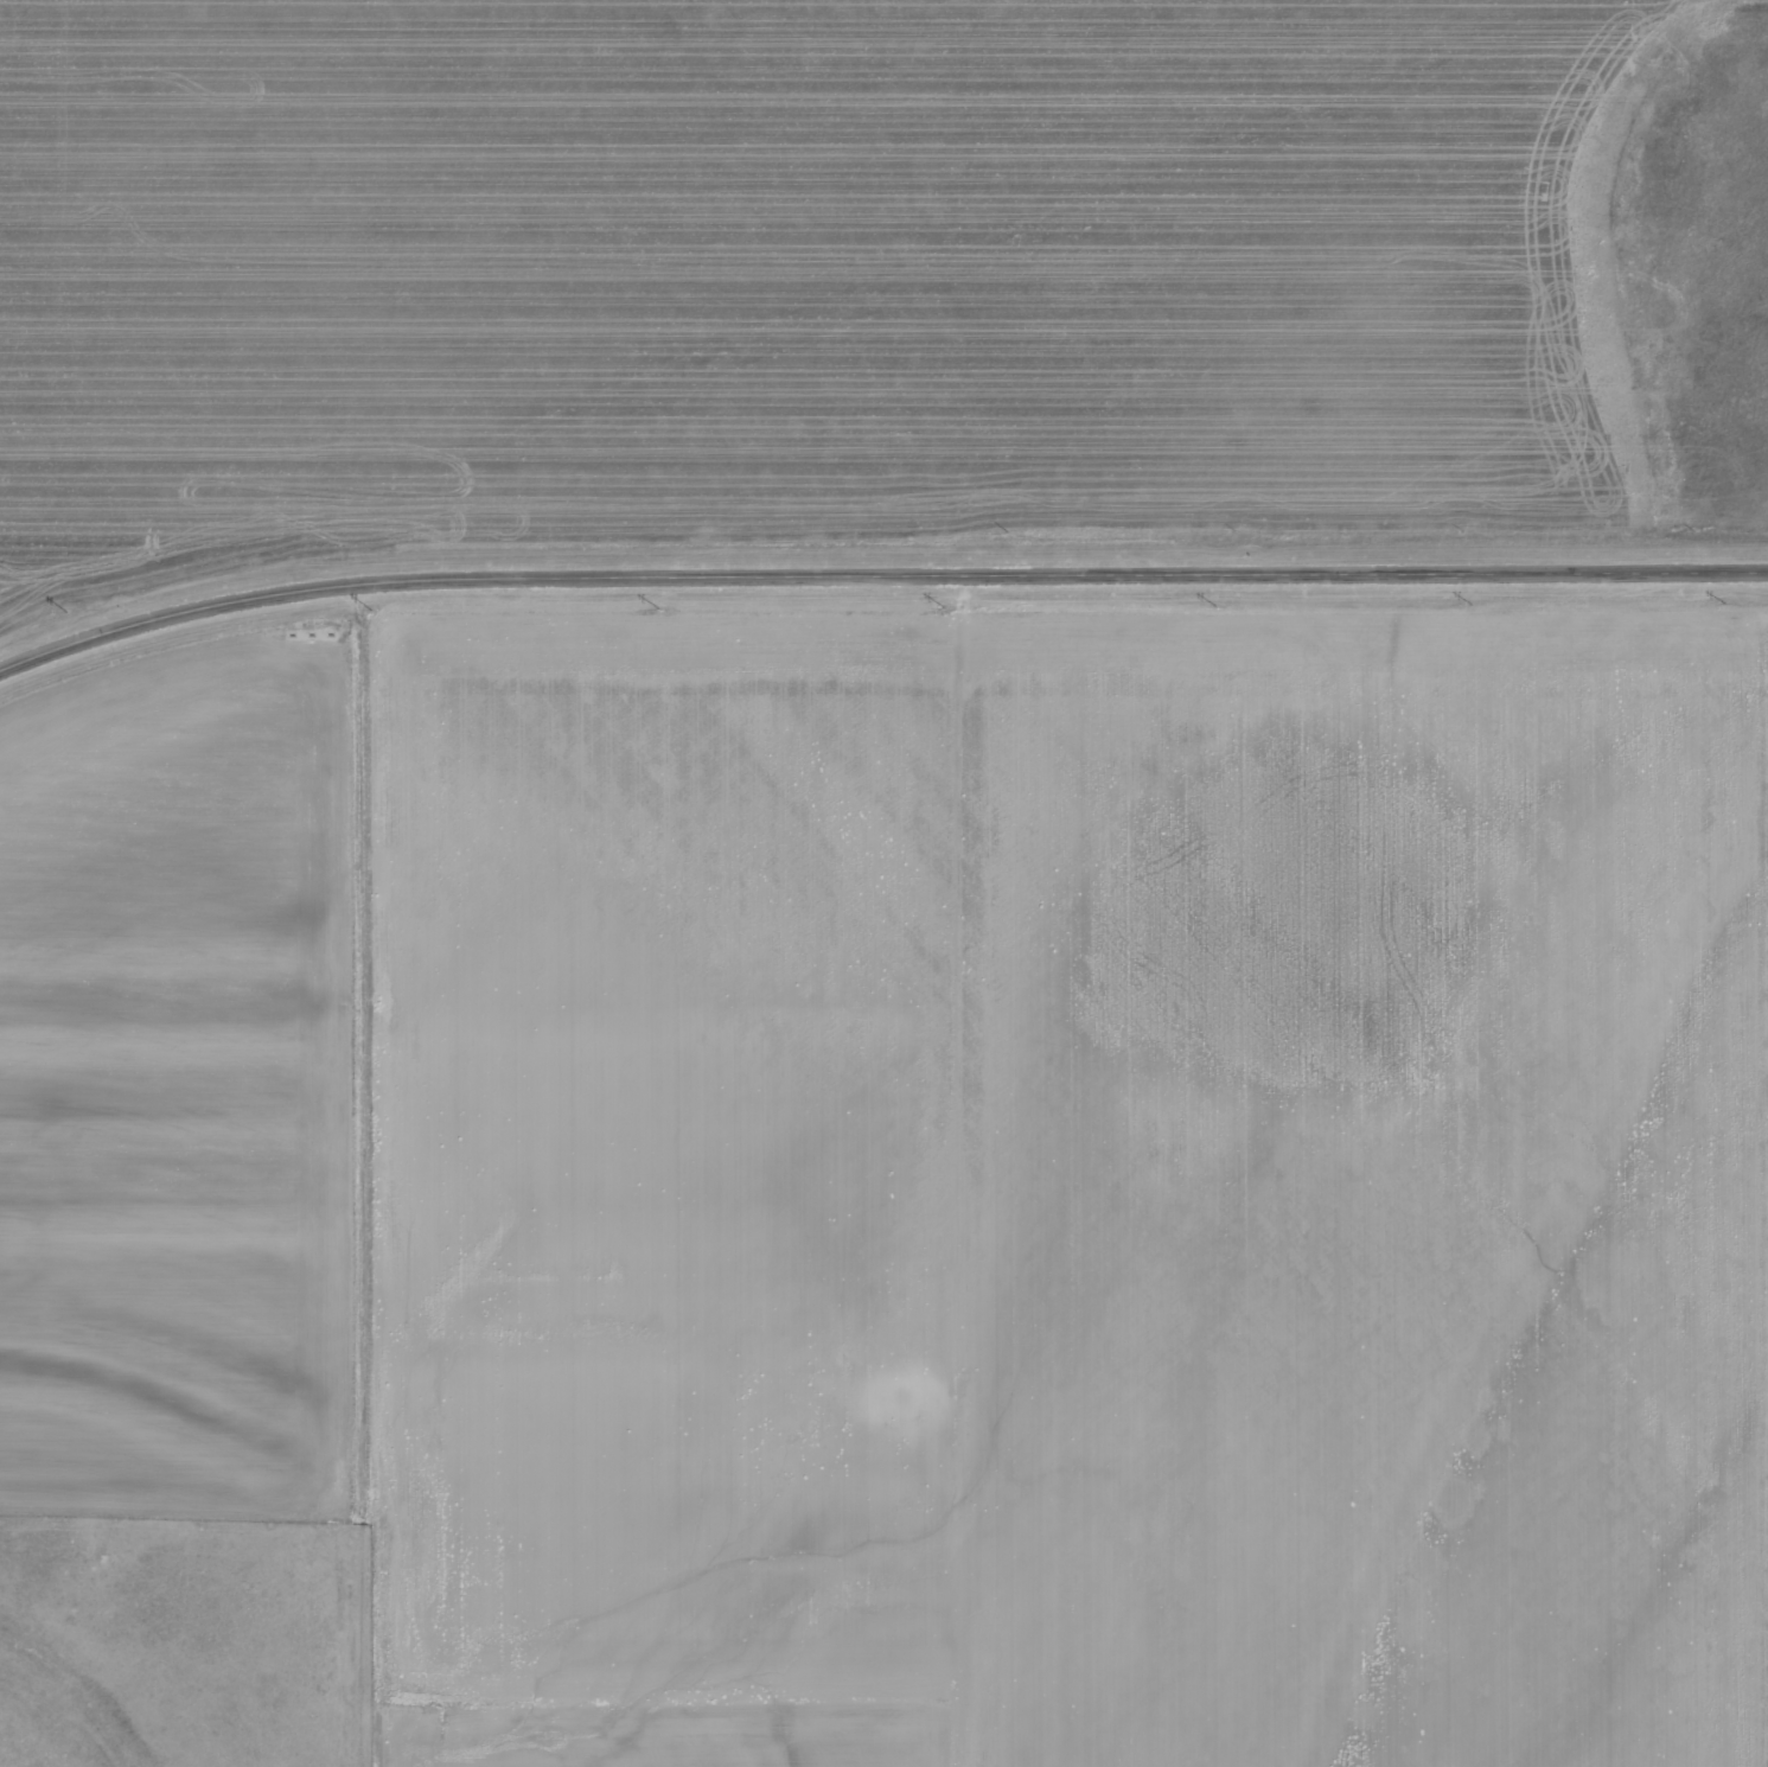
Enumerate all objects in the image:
road: (877, 578)
road: (936, 1172)

